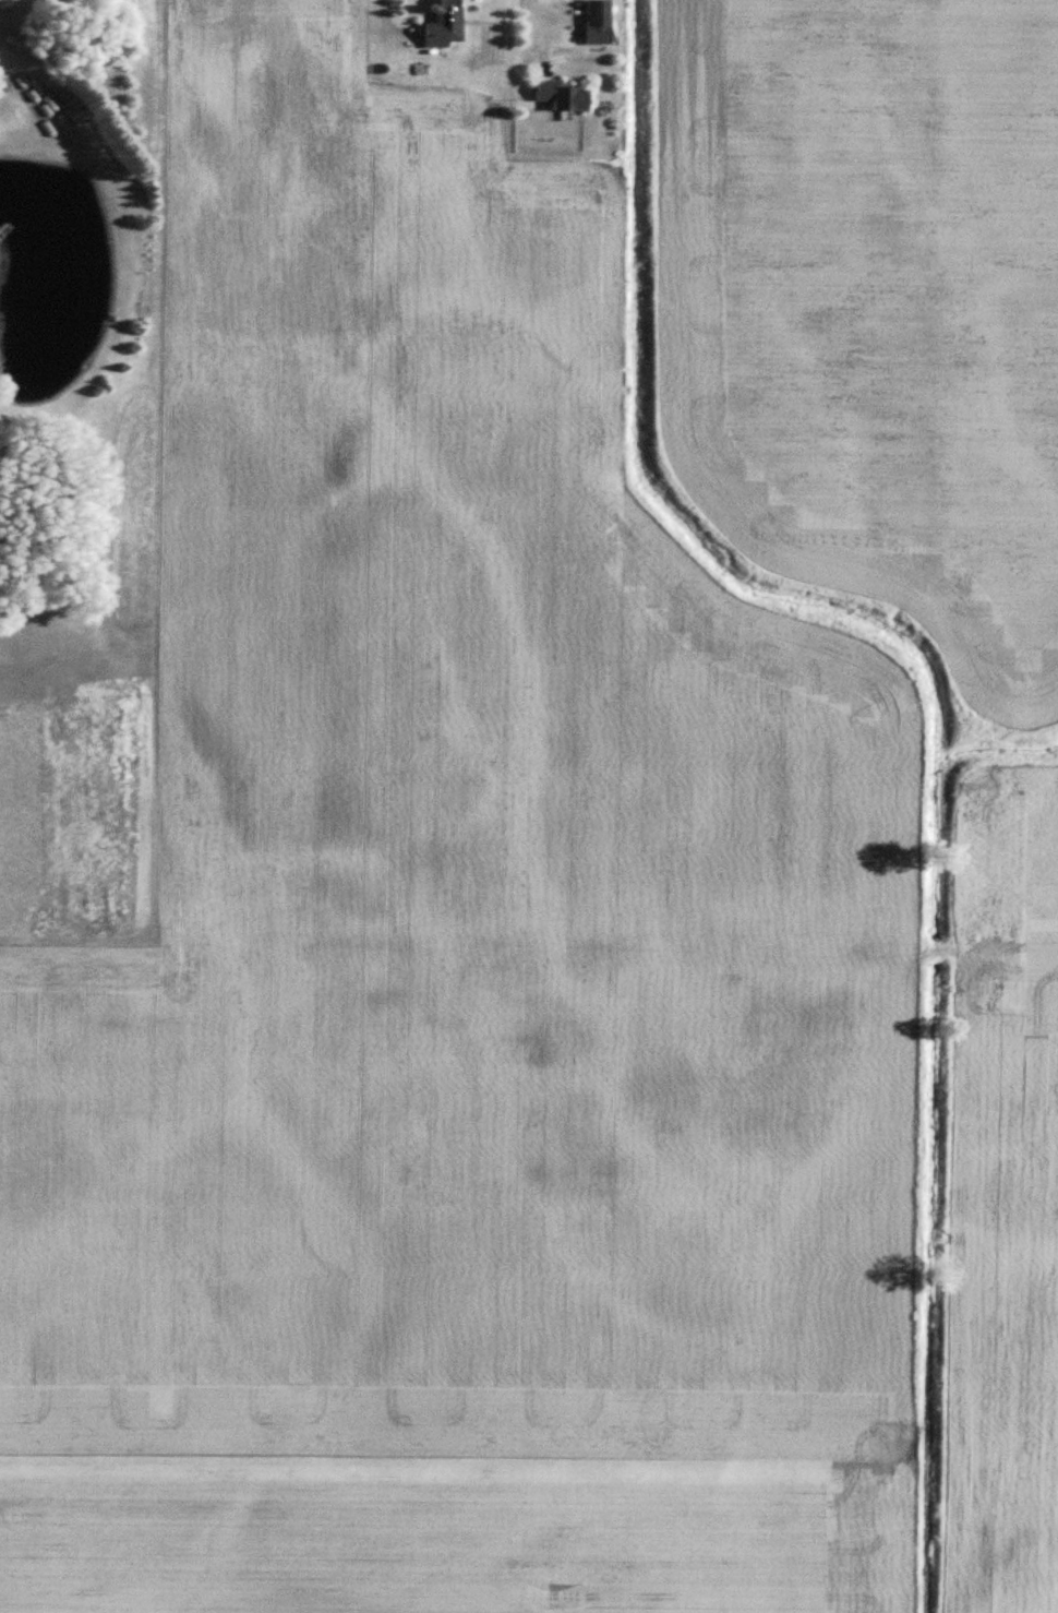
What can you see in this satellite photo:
building: (442, 25)
road: (534, 29)
building: (596, 36)
building: (557, 96)
building: (297, 303)

